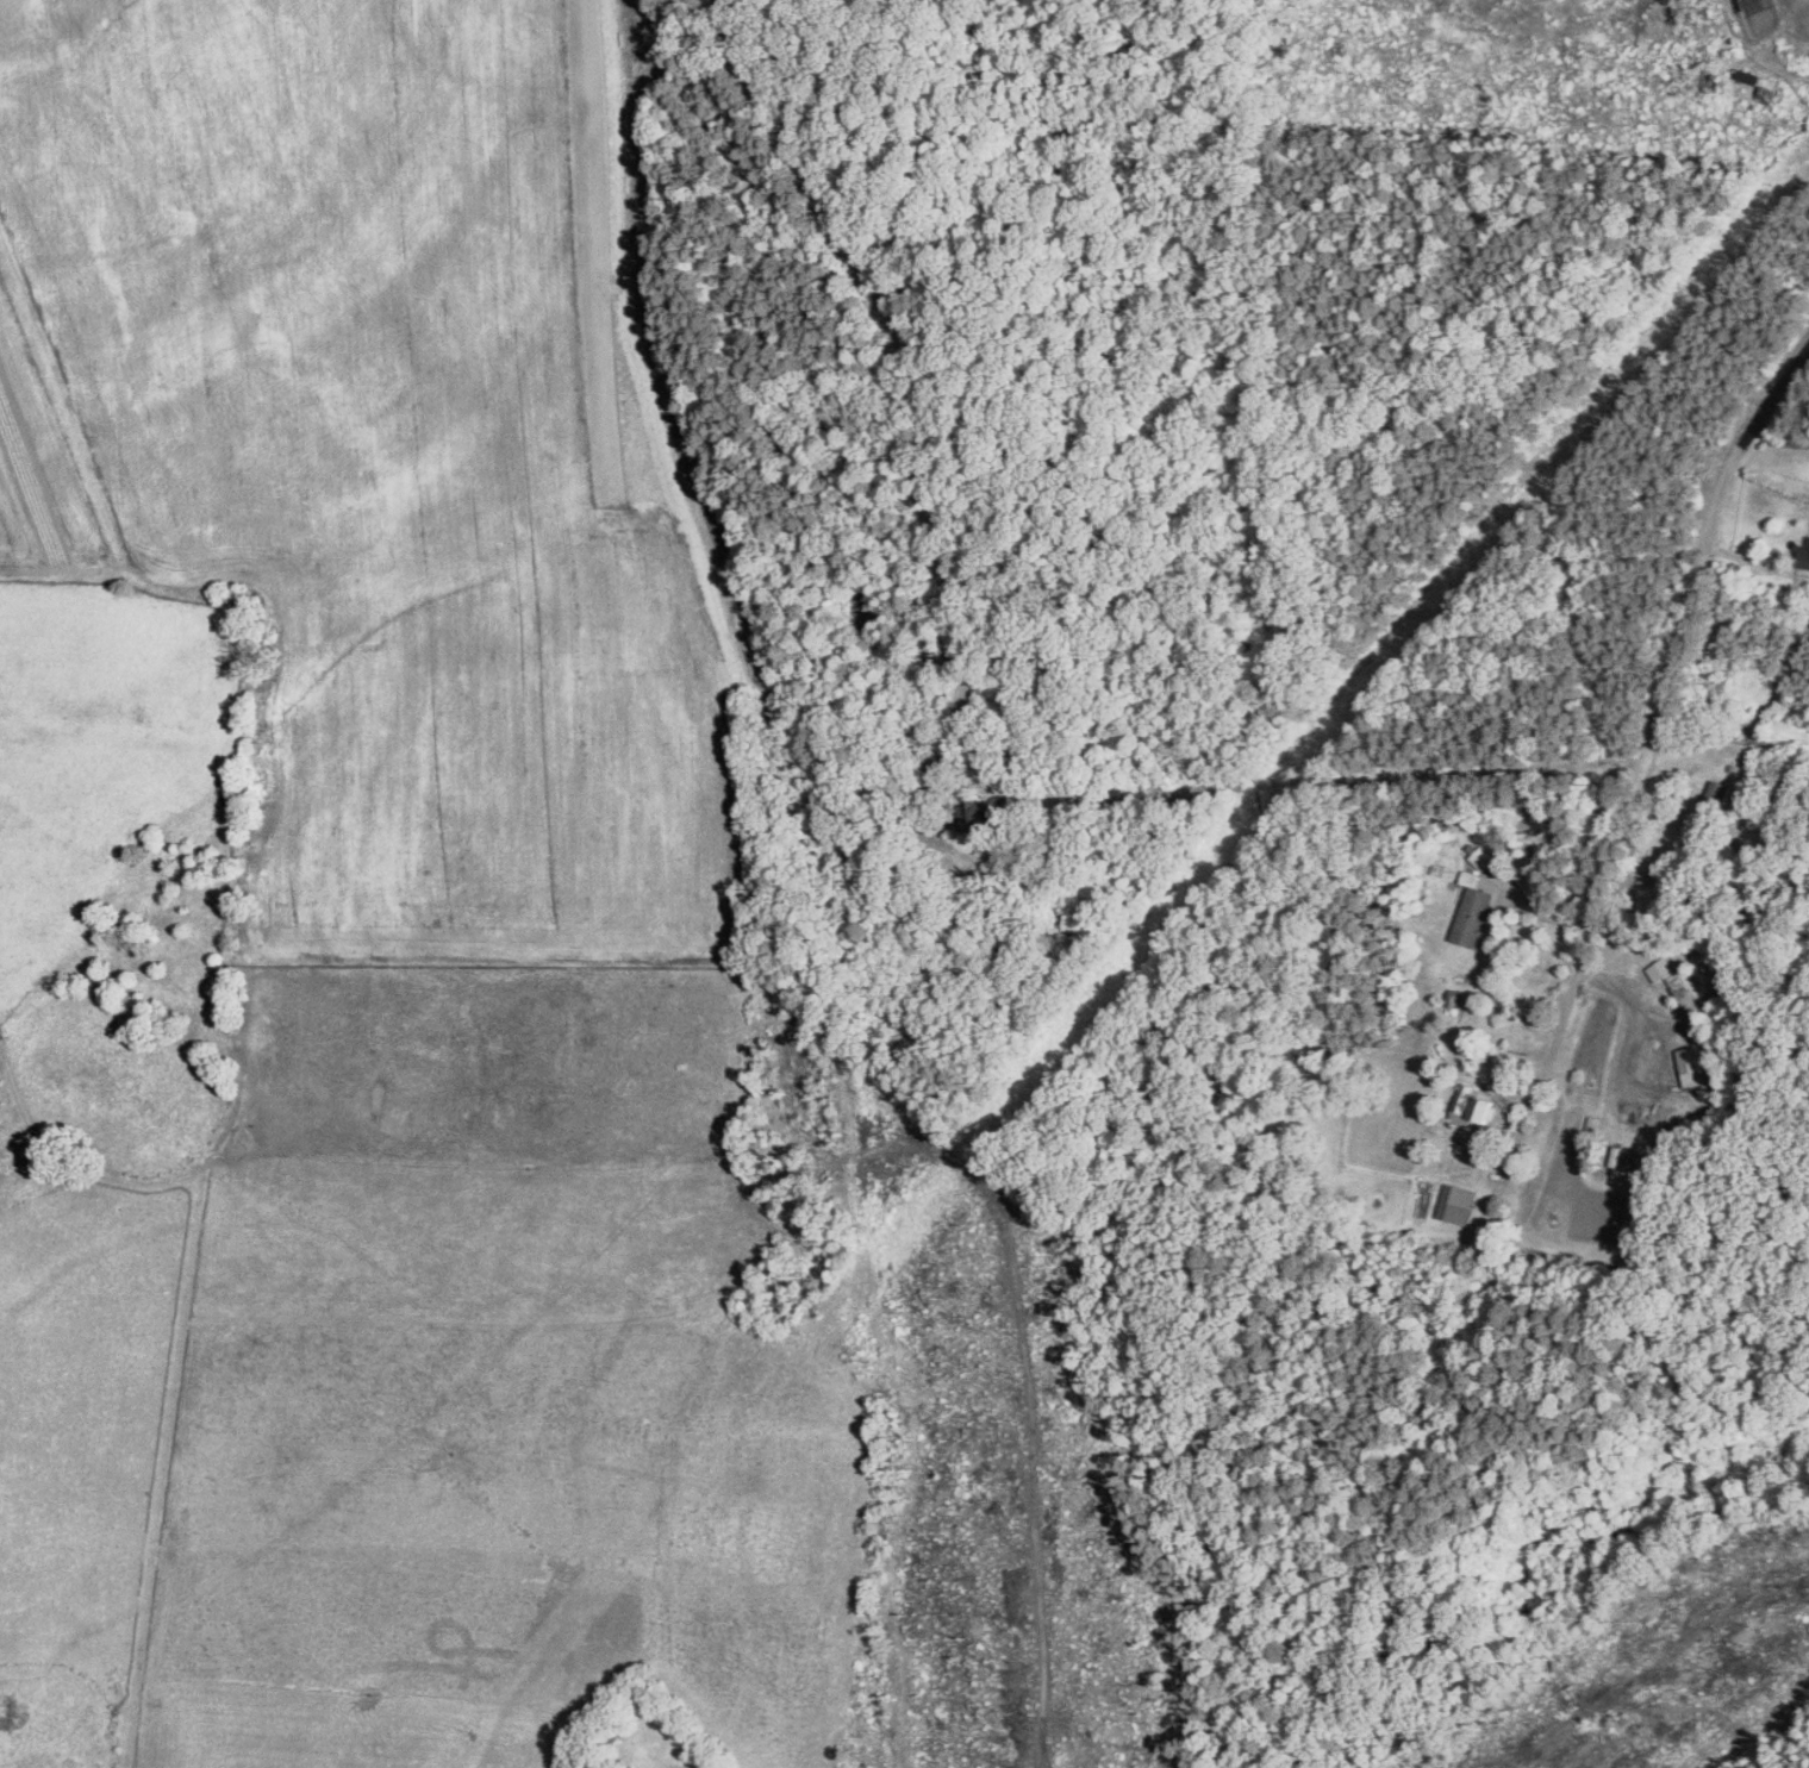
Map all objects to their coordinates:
road: (906, 400)
road: (1780, 437)
building: (1805, 551)
road: (1646, 741)
building: (1715, 795)
building: (980, 816)
building: (1483, 857)
building: (1471, 876)
building: (1473, 916)
building: (1660, 968)
building: (1693, 1066)
building: (1472, 1105)
building: (1455, 1202)

